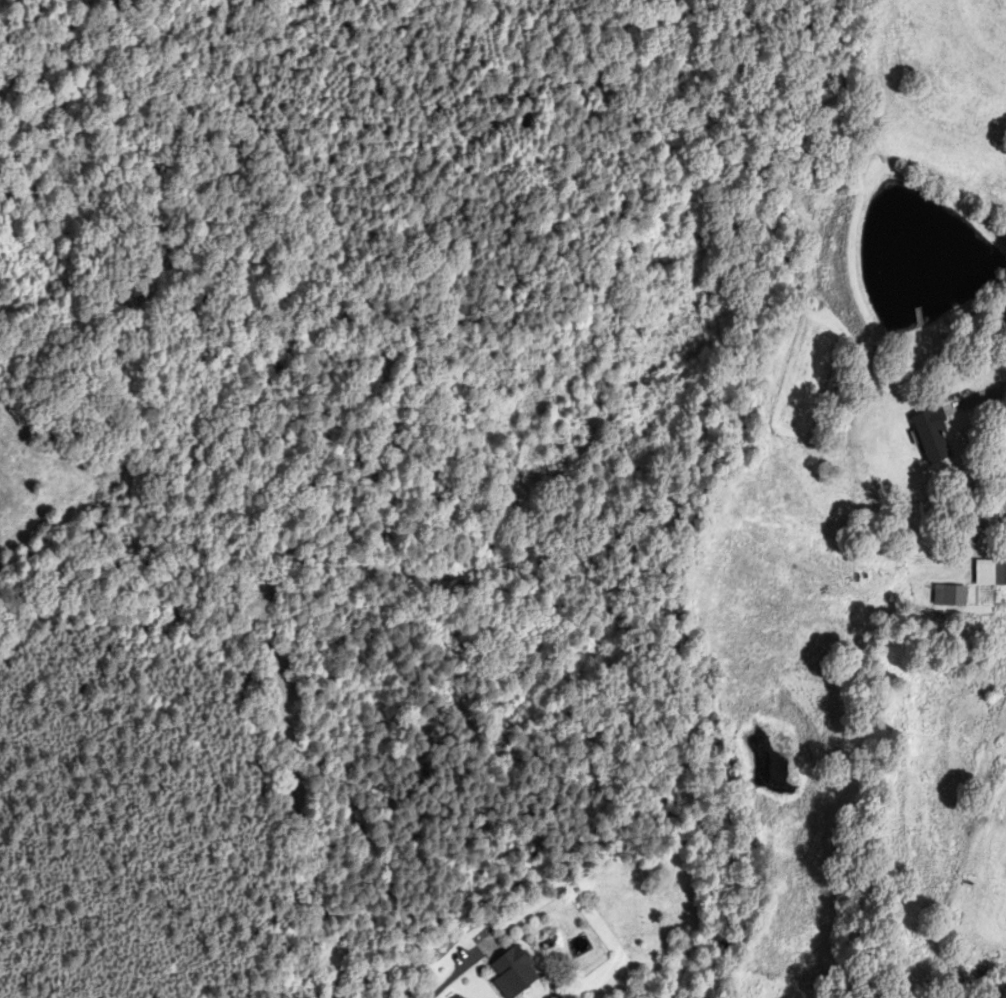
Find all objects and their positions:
road: (994, 389)
building: (932, 435)
building: (990, 573)
building: (949, 595)
building: (513, 973)
road: (444, 985)

